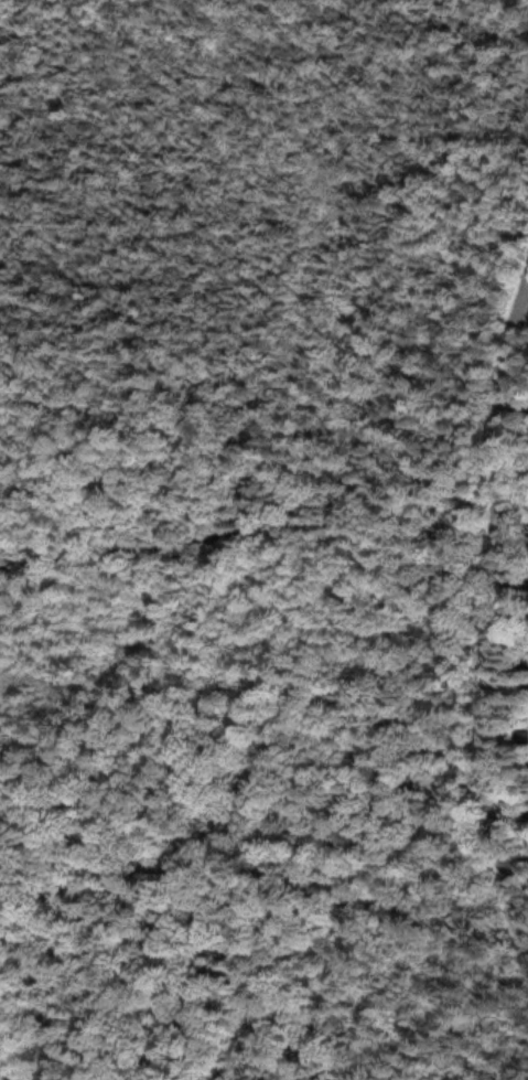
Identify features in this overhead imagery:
road: (495, 391)
road: (479, 740)

